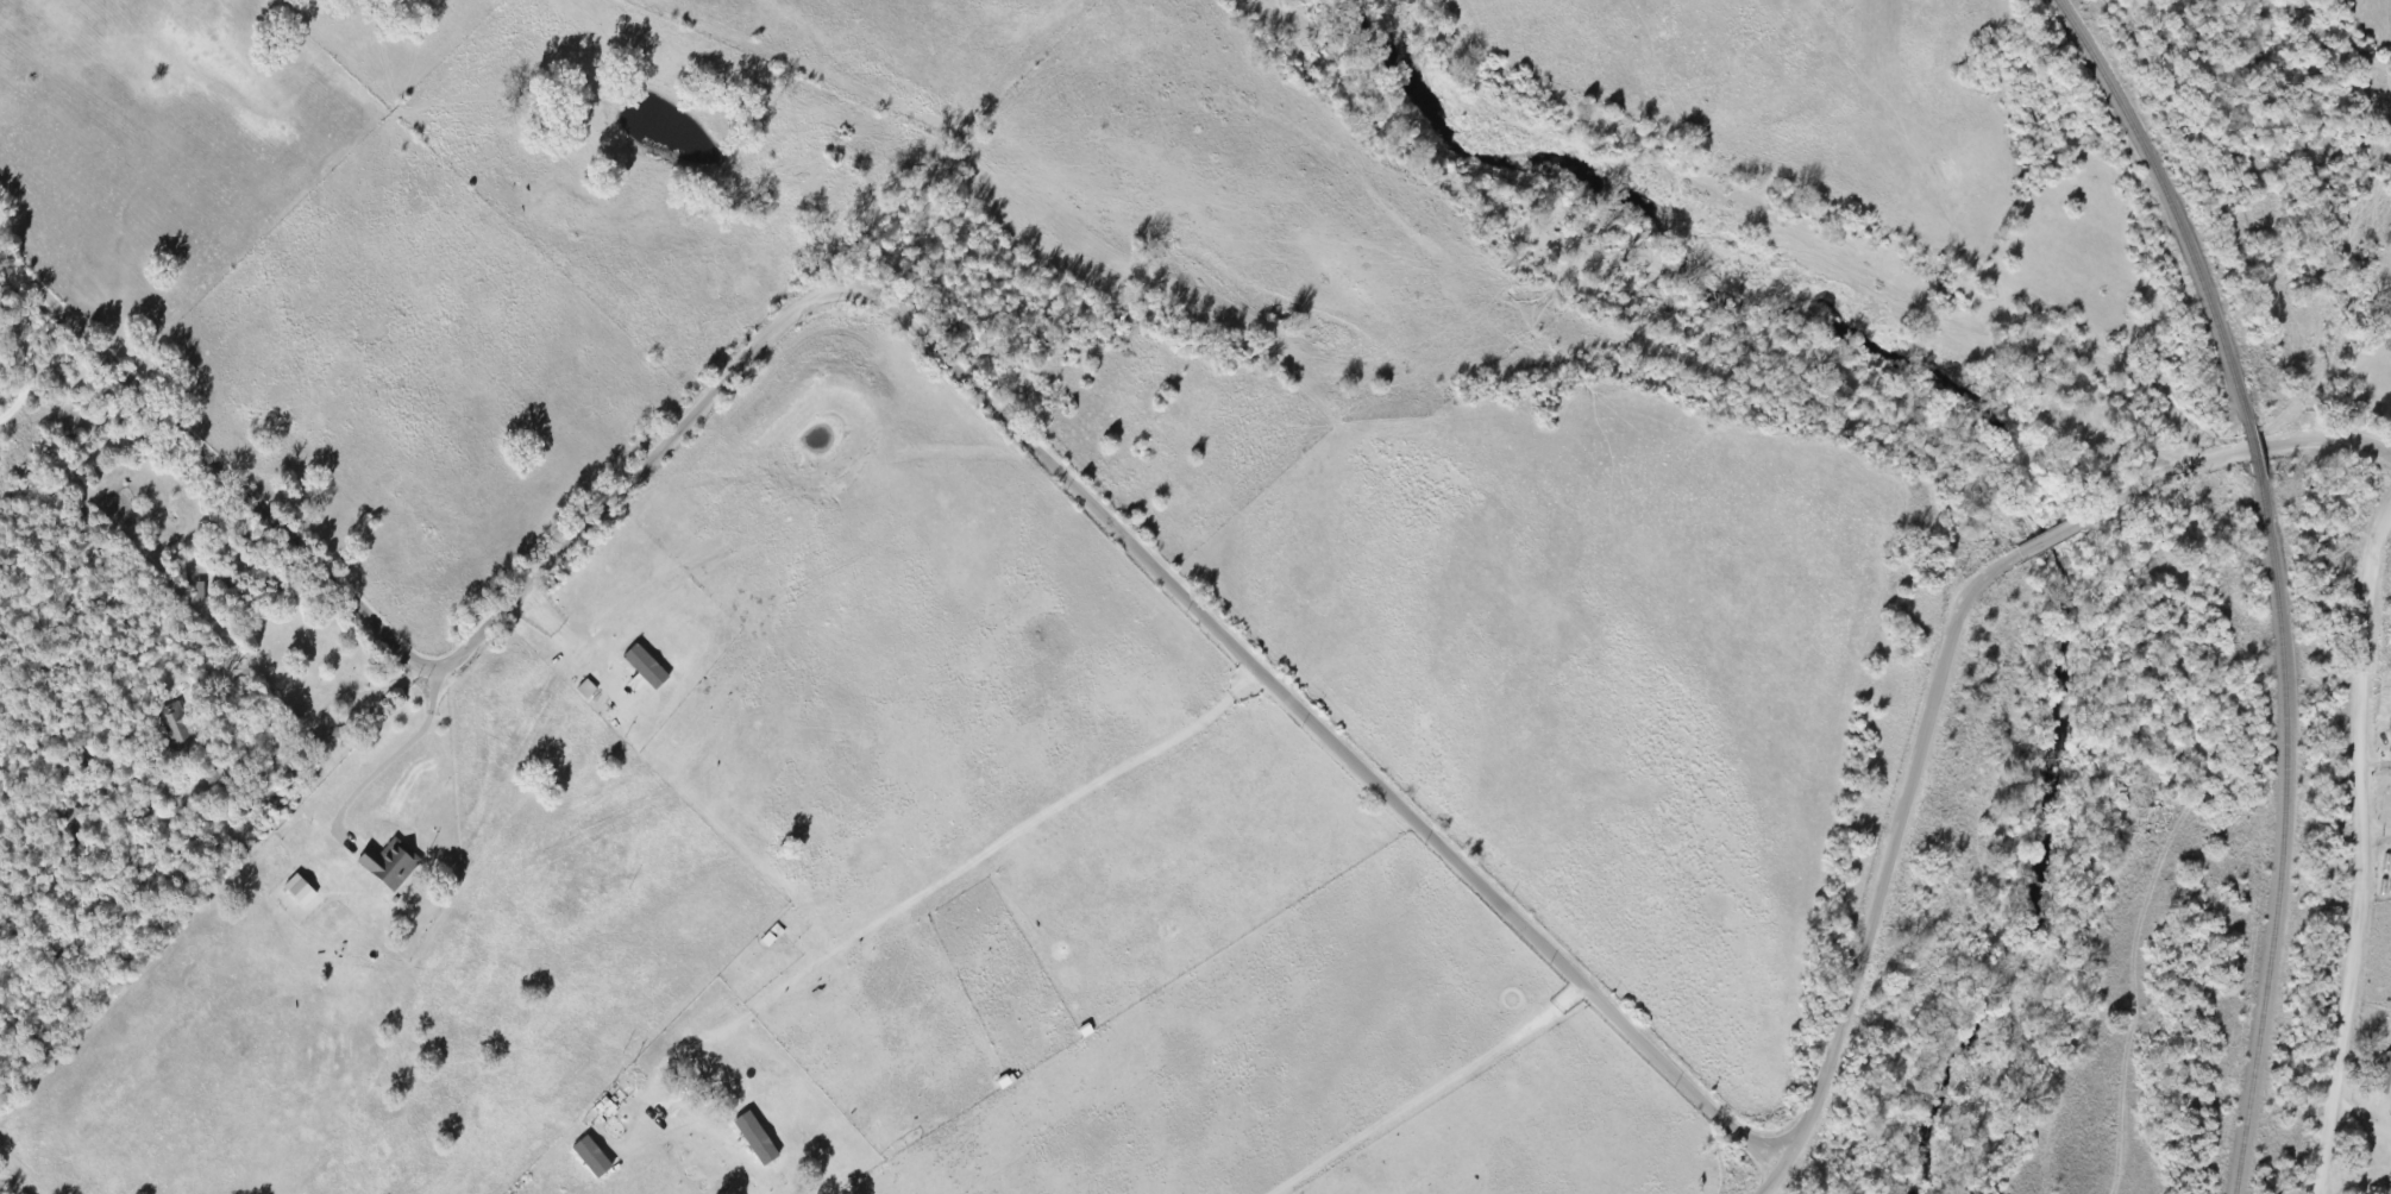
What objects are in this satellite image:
railway: (2166, 205)
road: (898, 314)
park: (2364, 357)
road: (29, 366)
railway: (2252, 451)
building: (199, 592)
building: (645, 666)
road: (1943, 677)
building: (176, 727)
road: (394, 759)
railway: (2277, 836)
road: (2362, 849)
building: (389, 862)
building: (299, 890)
building: (2384, 1074)
road: (363, 1137)
building: (755, 1137)
building: (590, 1156)

